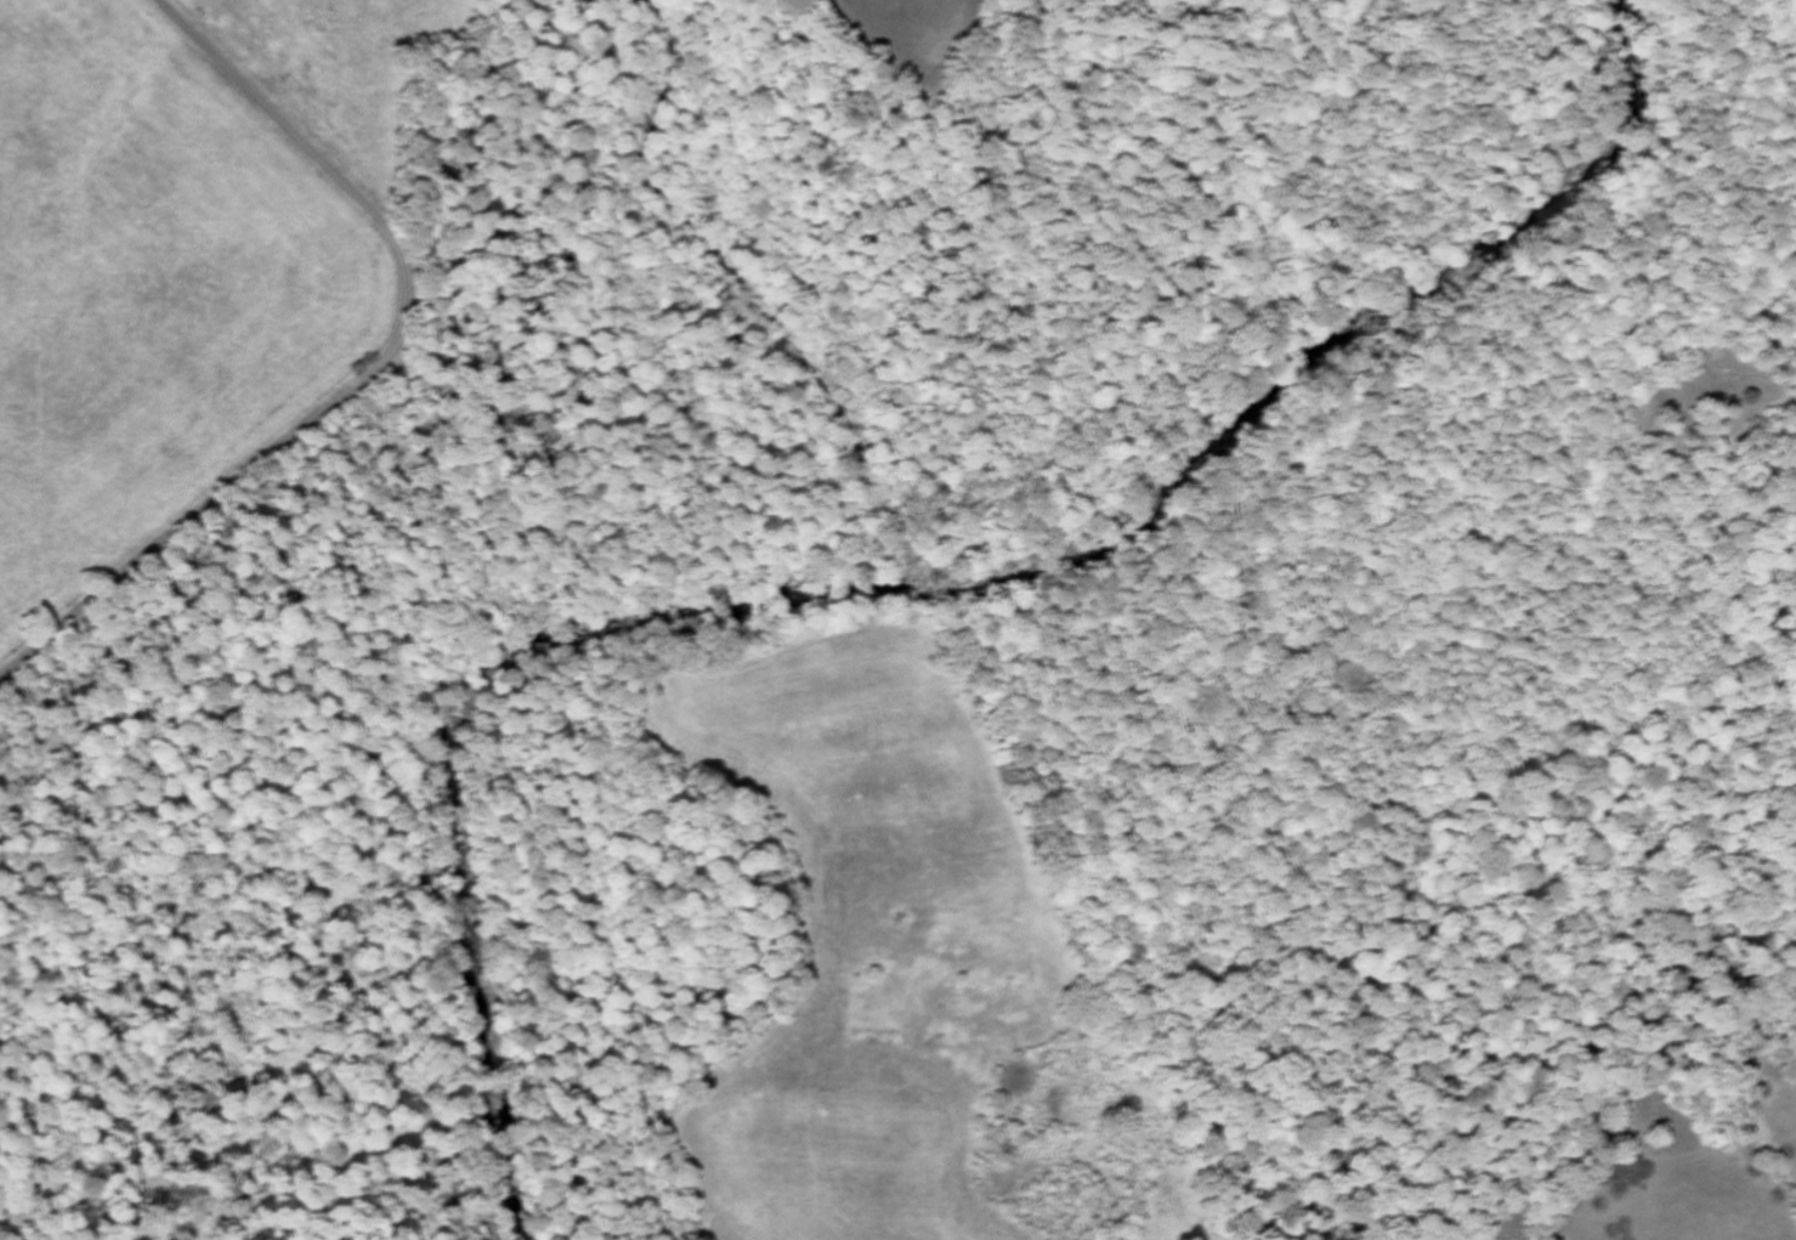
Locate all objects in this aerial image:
road: (369, 373)

